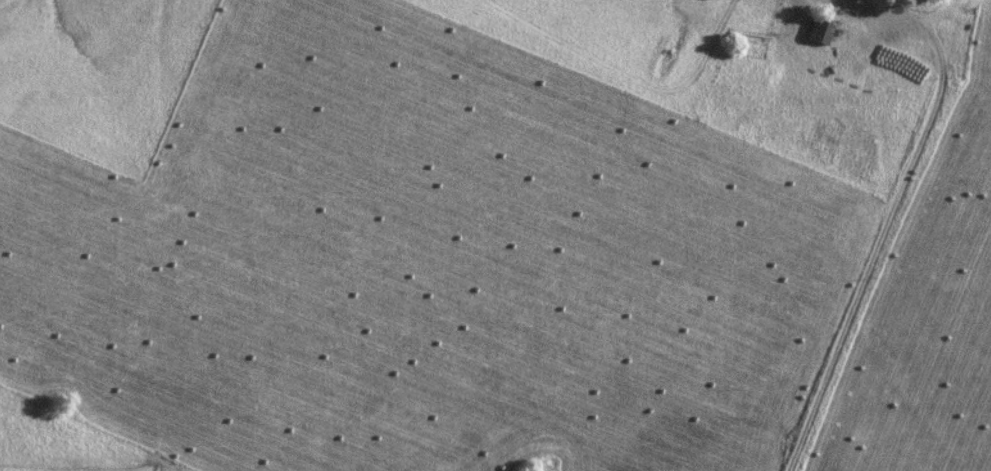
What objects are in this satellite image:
building: (819, 32)
road: (895, 201)

